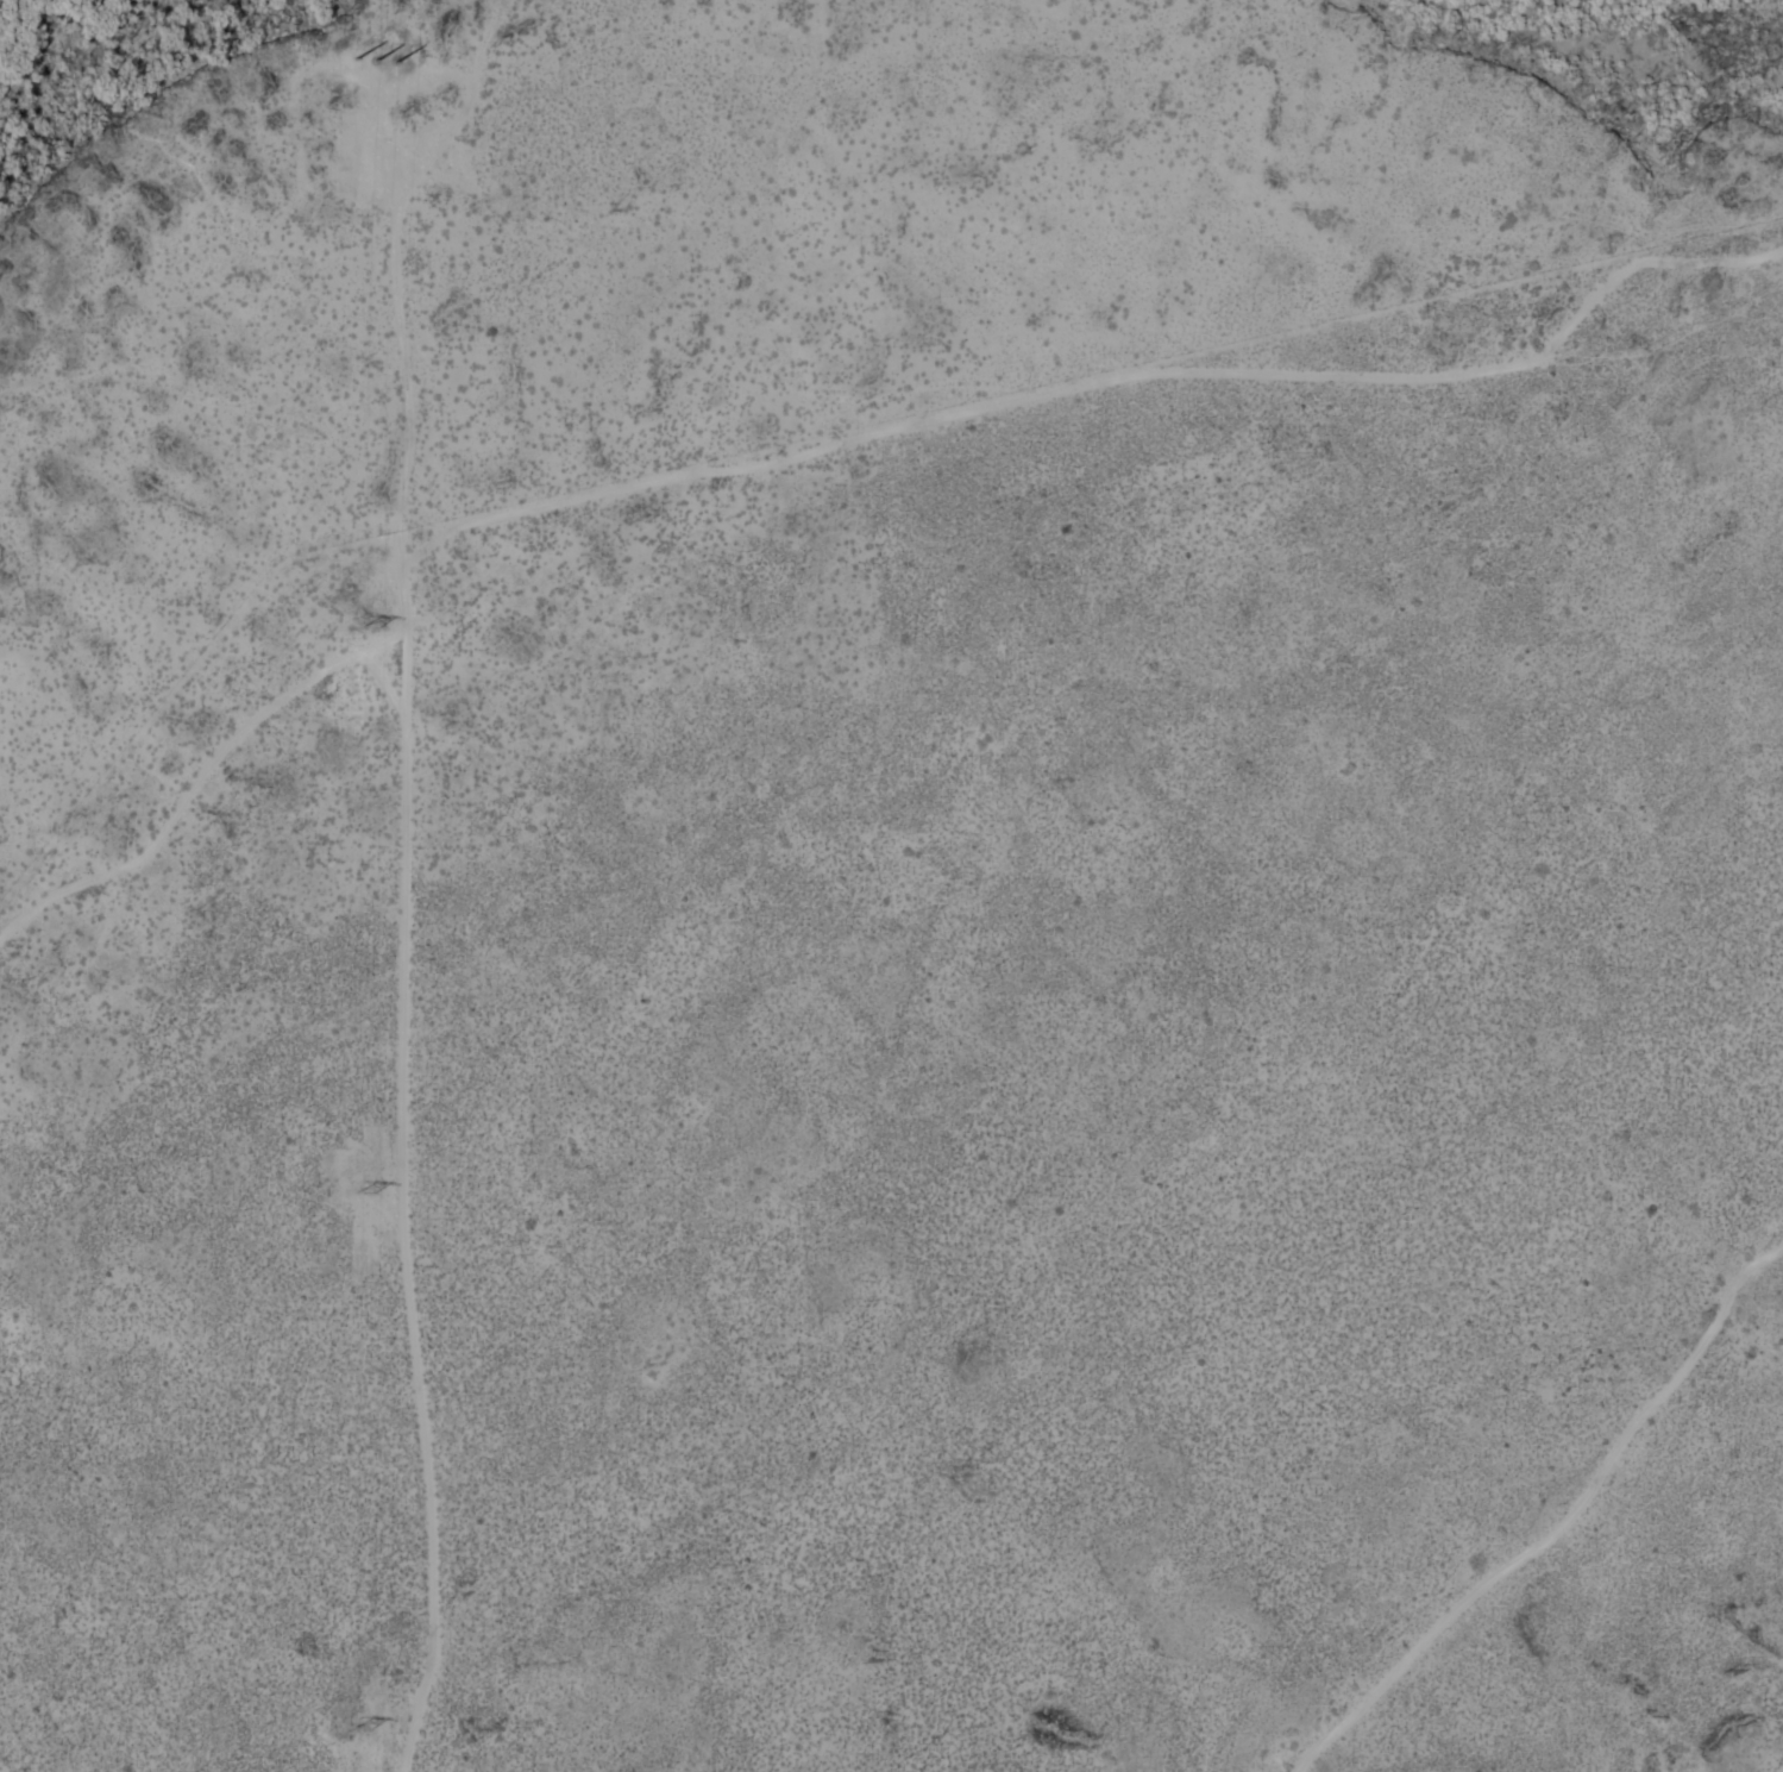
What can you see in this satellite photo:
power tower: (362, 55)
power tower: (382, 632)
power tower: (382, 1195)
road: (1545, 1580)
power tower: (376, 1733)

